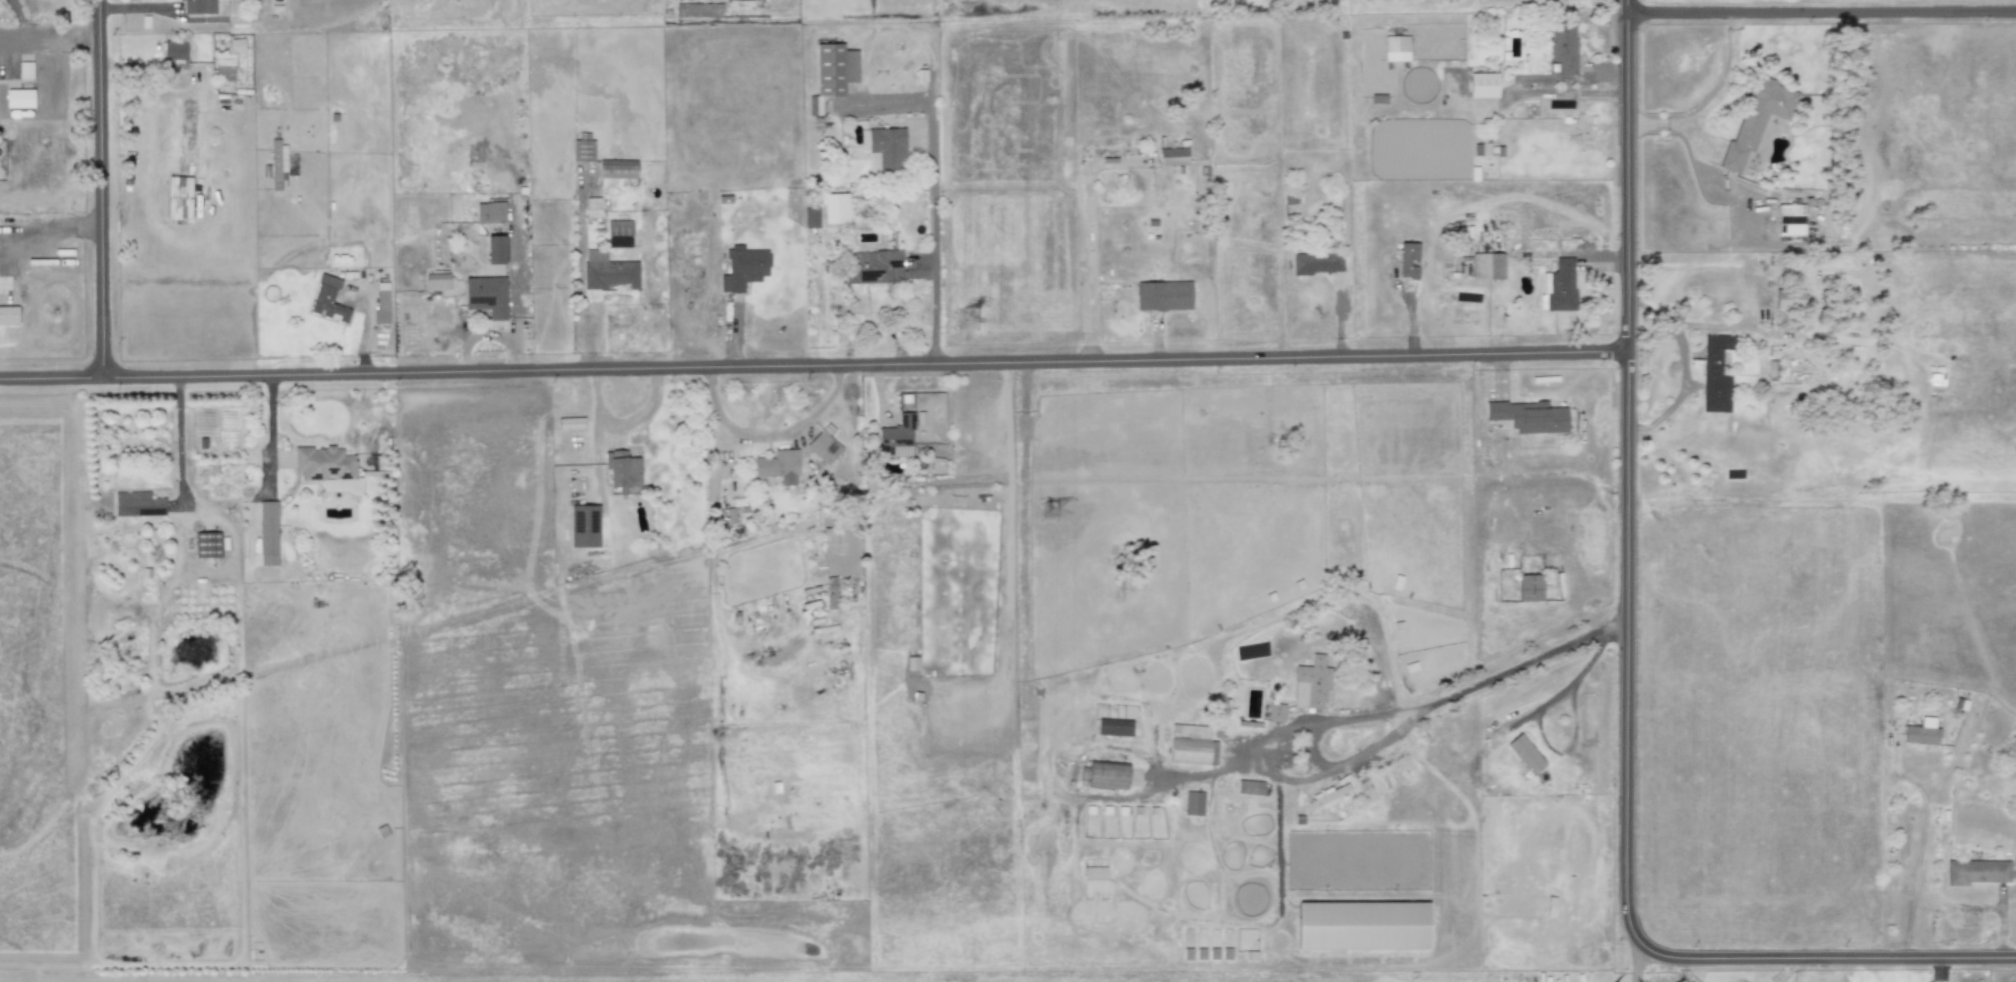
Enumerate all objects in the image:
building: (199, 6)
road: (1821, 14)
road: (50, 42)
building: (1563, 47)
building: (1396, 48)
building: (174, 49)
building: (15, 70)
building: (832, 73)
building: (1481, 87)
road: (1576, 94)
building: (1756, 120)
building: (582, 148)
building: (883, 149)
building: (1173, 157)
building: (277, 162)
building: (618, 169)
road: (103, 189)
building: (178, 197)
building: (835, 208)
building: (593, 210)
building: (490, 212)
building: (811, 217)
building: (1790, 219)
road: (936, 228)
building: (618, 234)
building: (495, 249)
building: (1408, 261)
road: (1092, 262)
building: (1317, 262)
building: (870, 266)
building: (1488, 266)
building: (743, 268)
building: (437, 281)
building: (1558, 286)
building: (591, 294)
building: (486, 295)
building: (1162, 295)
building: (1789, 299)
building: (328, 300)
building: (380, 304)
building: (8, 315)
power tower: (975, 320)
road: (1723, 328)
road: (813, 367)
road: (1682, 368)
building: (1772, 369)
building: (1715, 374)
building: (1529, 417)
road: (622, 422)
building: (570, 423)
road: (180, 436)
building: (896, 437)
road: (770, 439)
building: (823, 447)
building: (779, 466)
building: (326, 469)
building: (622, 470)
building: (137, 504)
power tower: (1053, 518)
building: (584, 526)
building: (267, 533)
building: (832, 540)
building: (207, 544)
building: (1529, 587)
building: (831, 592)
building: (912, 663)
road: (1625, 664)
building: (1311, 683)
building: (1275, 712)
road: (1355, 720)
road: (1539, 723)
building: (1114, 727)
building: (1921, 732)
building: (1191, 745)
road: (1311, 753)
building: (1525, 754)
road: (1349, 762)
building: (1107, 774)
building: (1250, 787)
building: (1367, 792)
building: (1326, 797)
building: (1193, 803)
road: (1278, 821)
road: (1918, 858)
building: (1977, 872)
building: (1094, 878)
building: (1362, 925)
road: (1639, 964)
road: (1788, 970)
road: (1685, 971)

